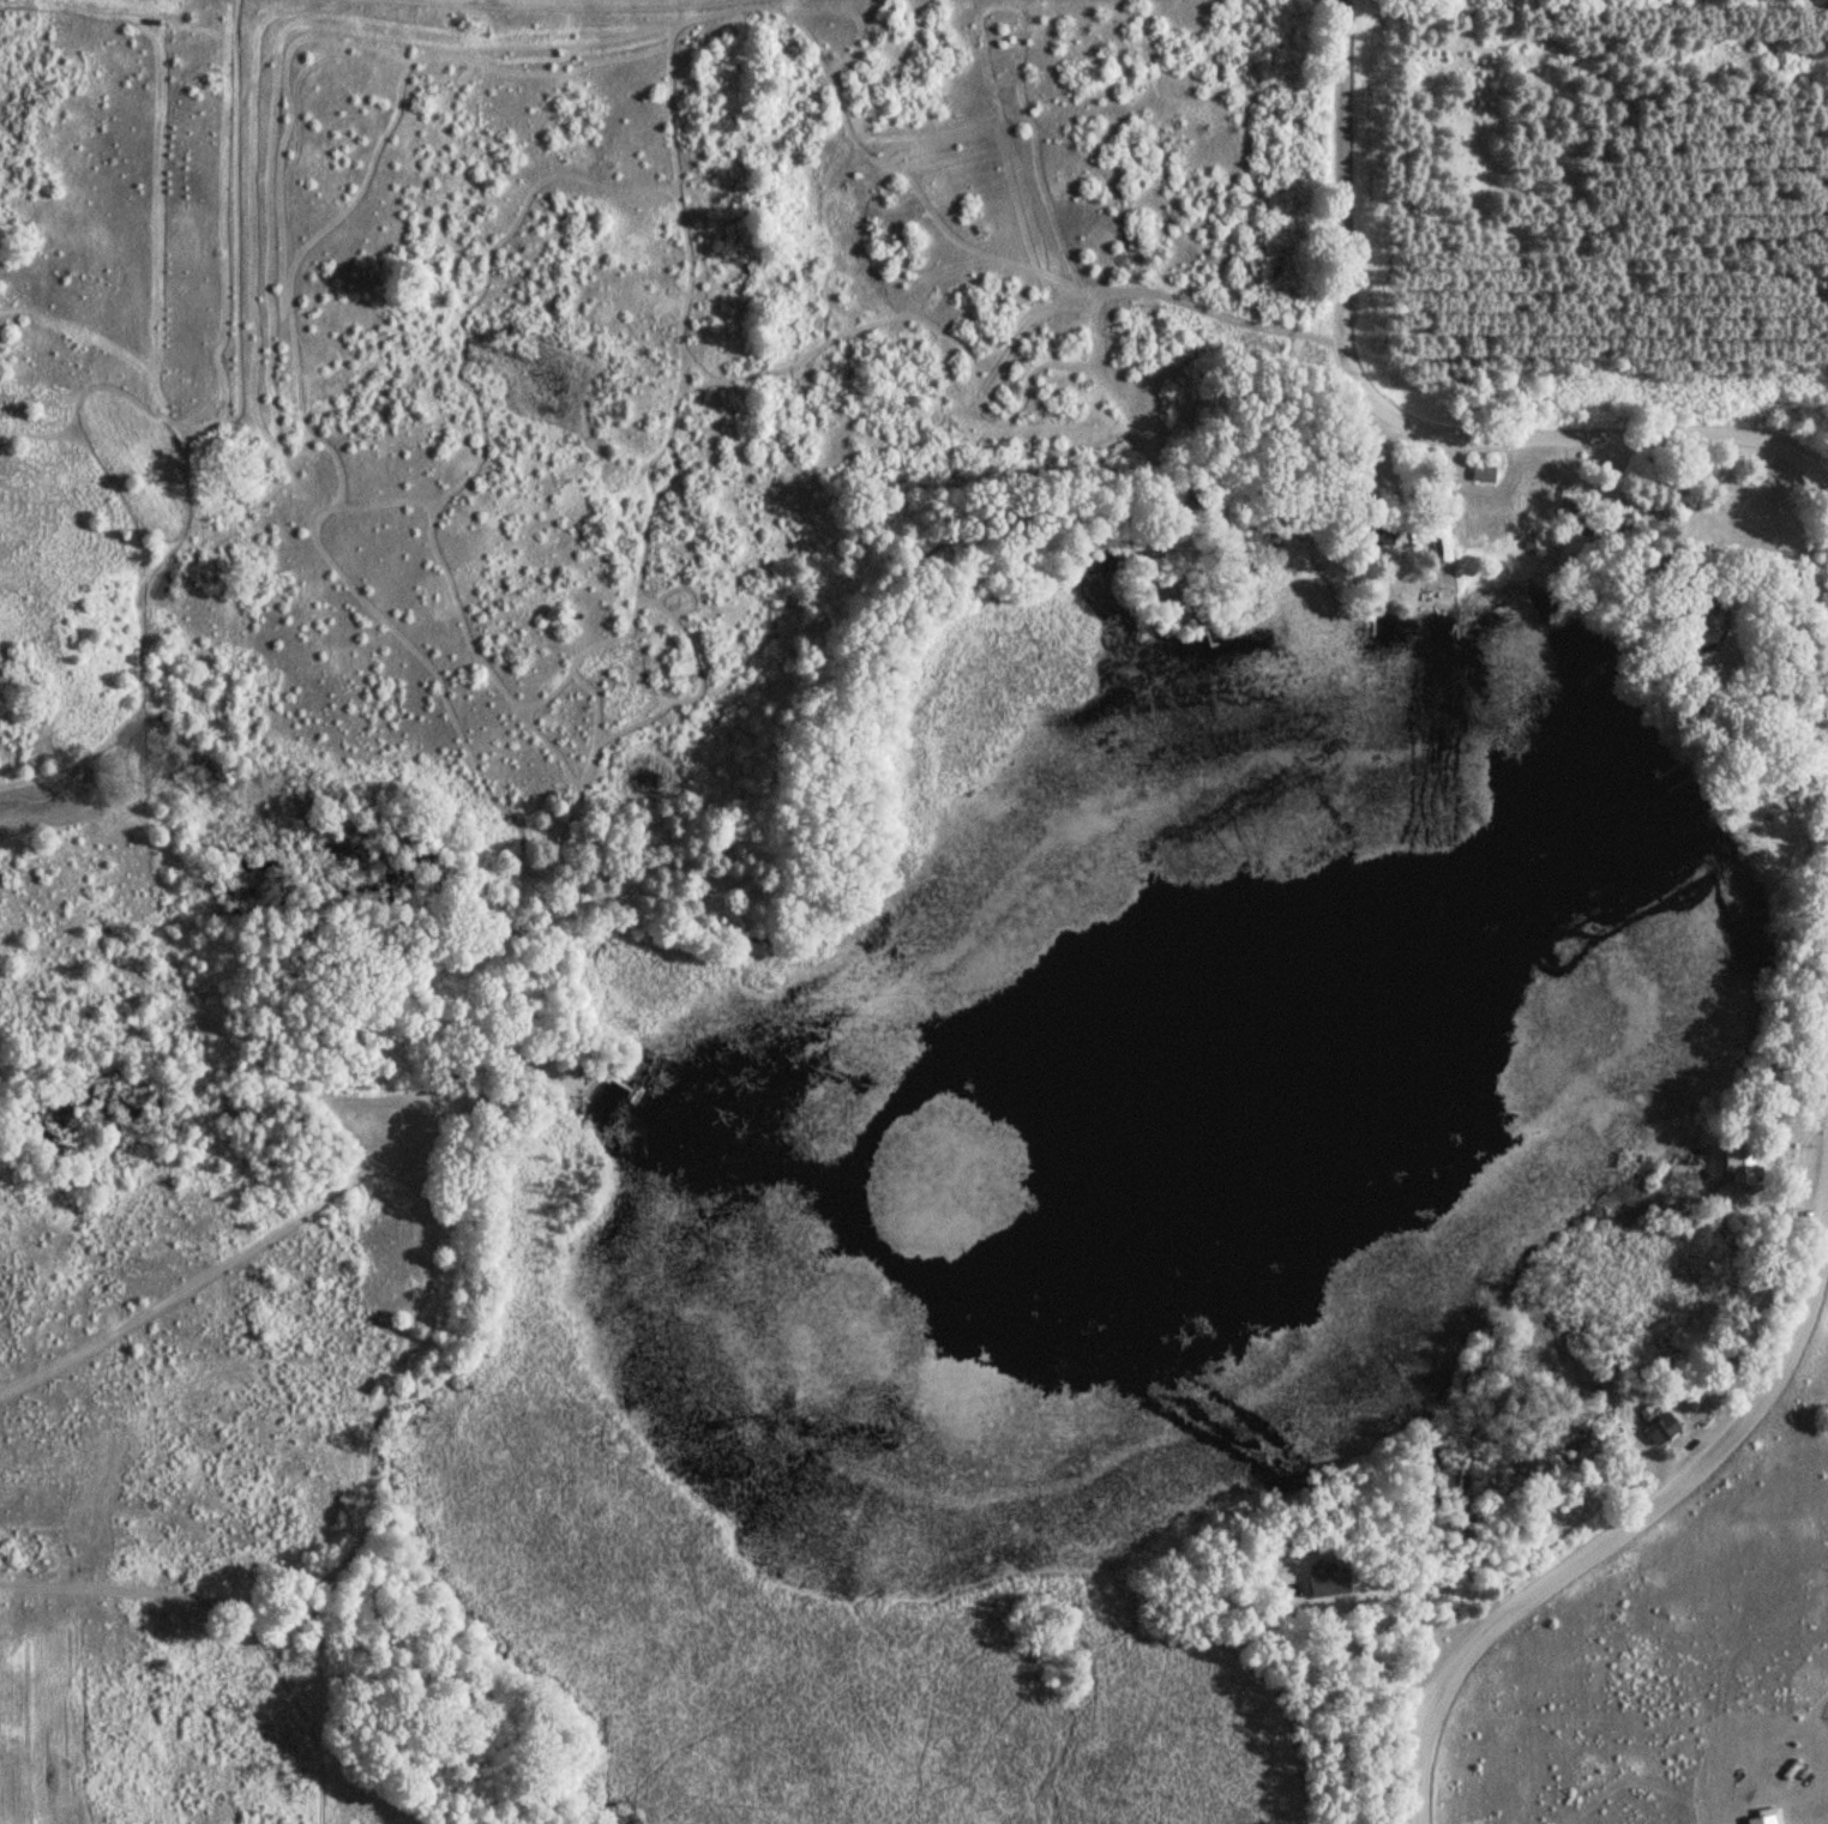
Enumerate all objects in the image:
road: (1240, 366)
road: (1399, 429)
building: (1480, 474)
building: (1484, 520)
building: (1734, 1173)
building: (1659, 1428)
road: (1616, 1530)

